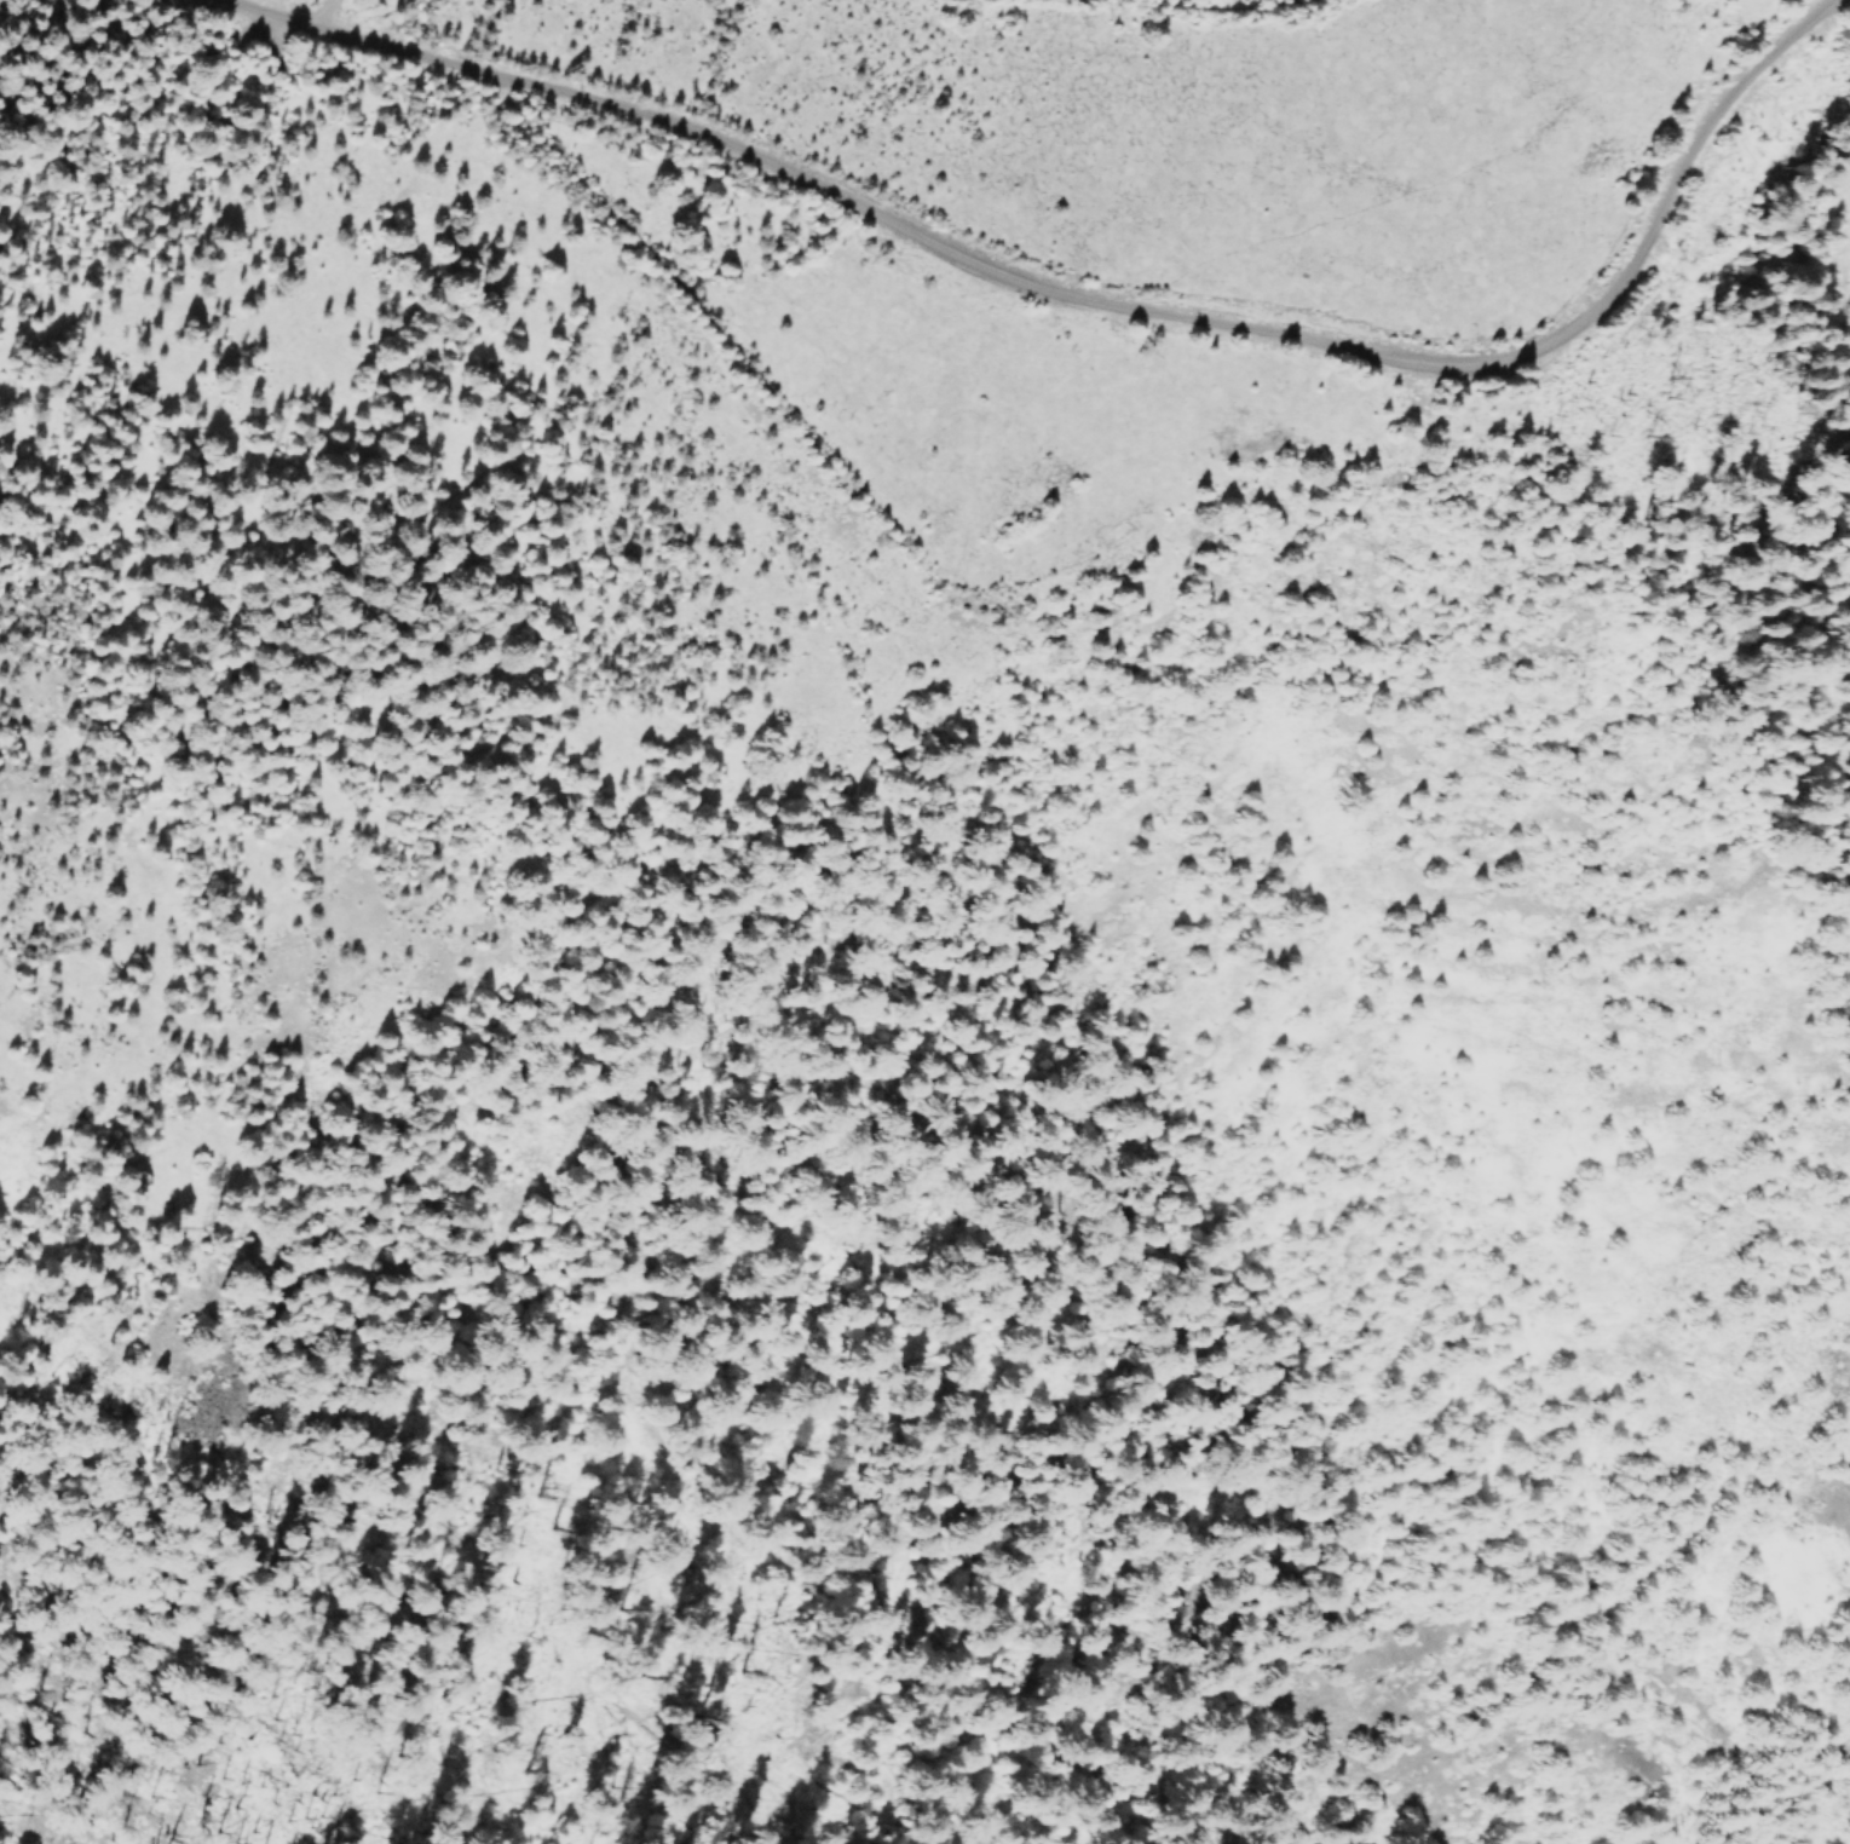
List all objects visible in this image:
road: (317, 15)
road: (1080, 307)

